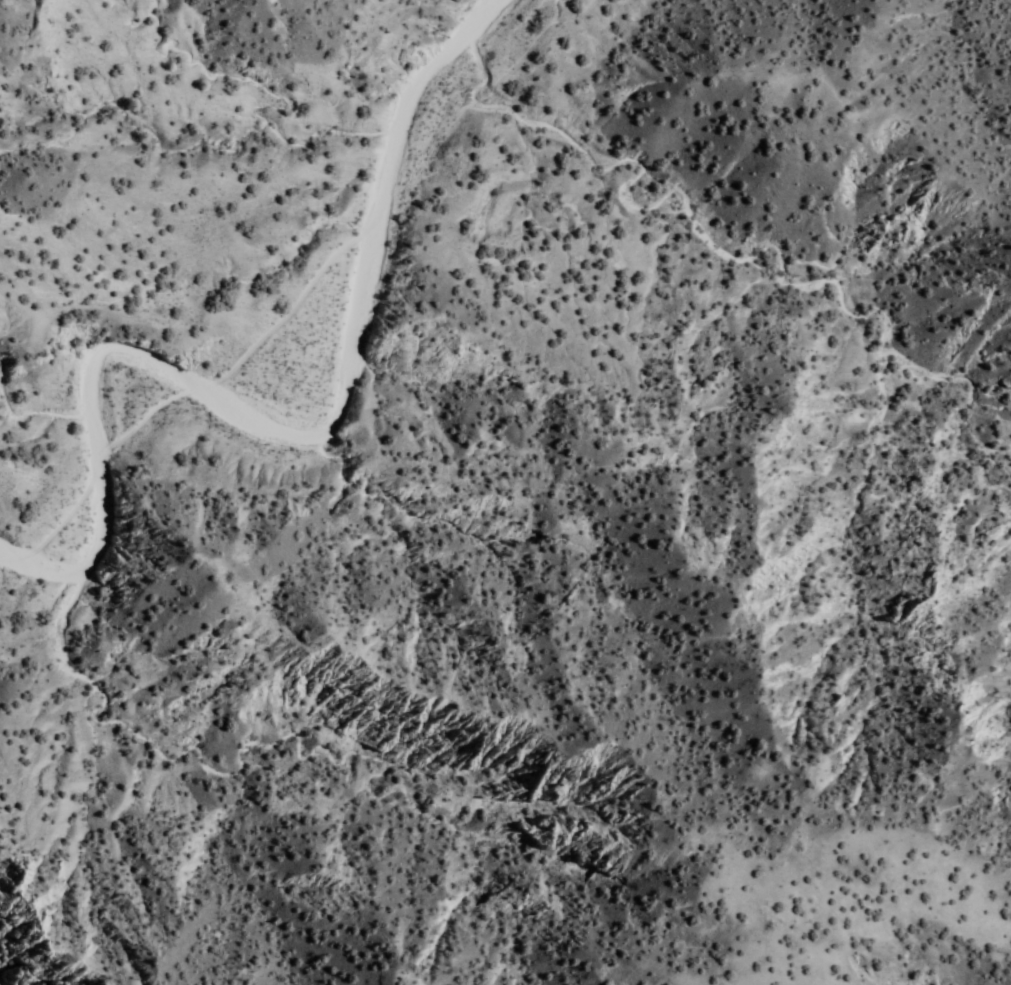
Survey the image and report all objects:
road: (280, 309)

